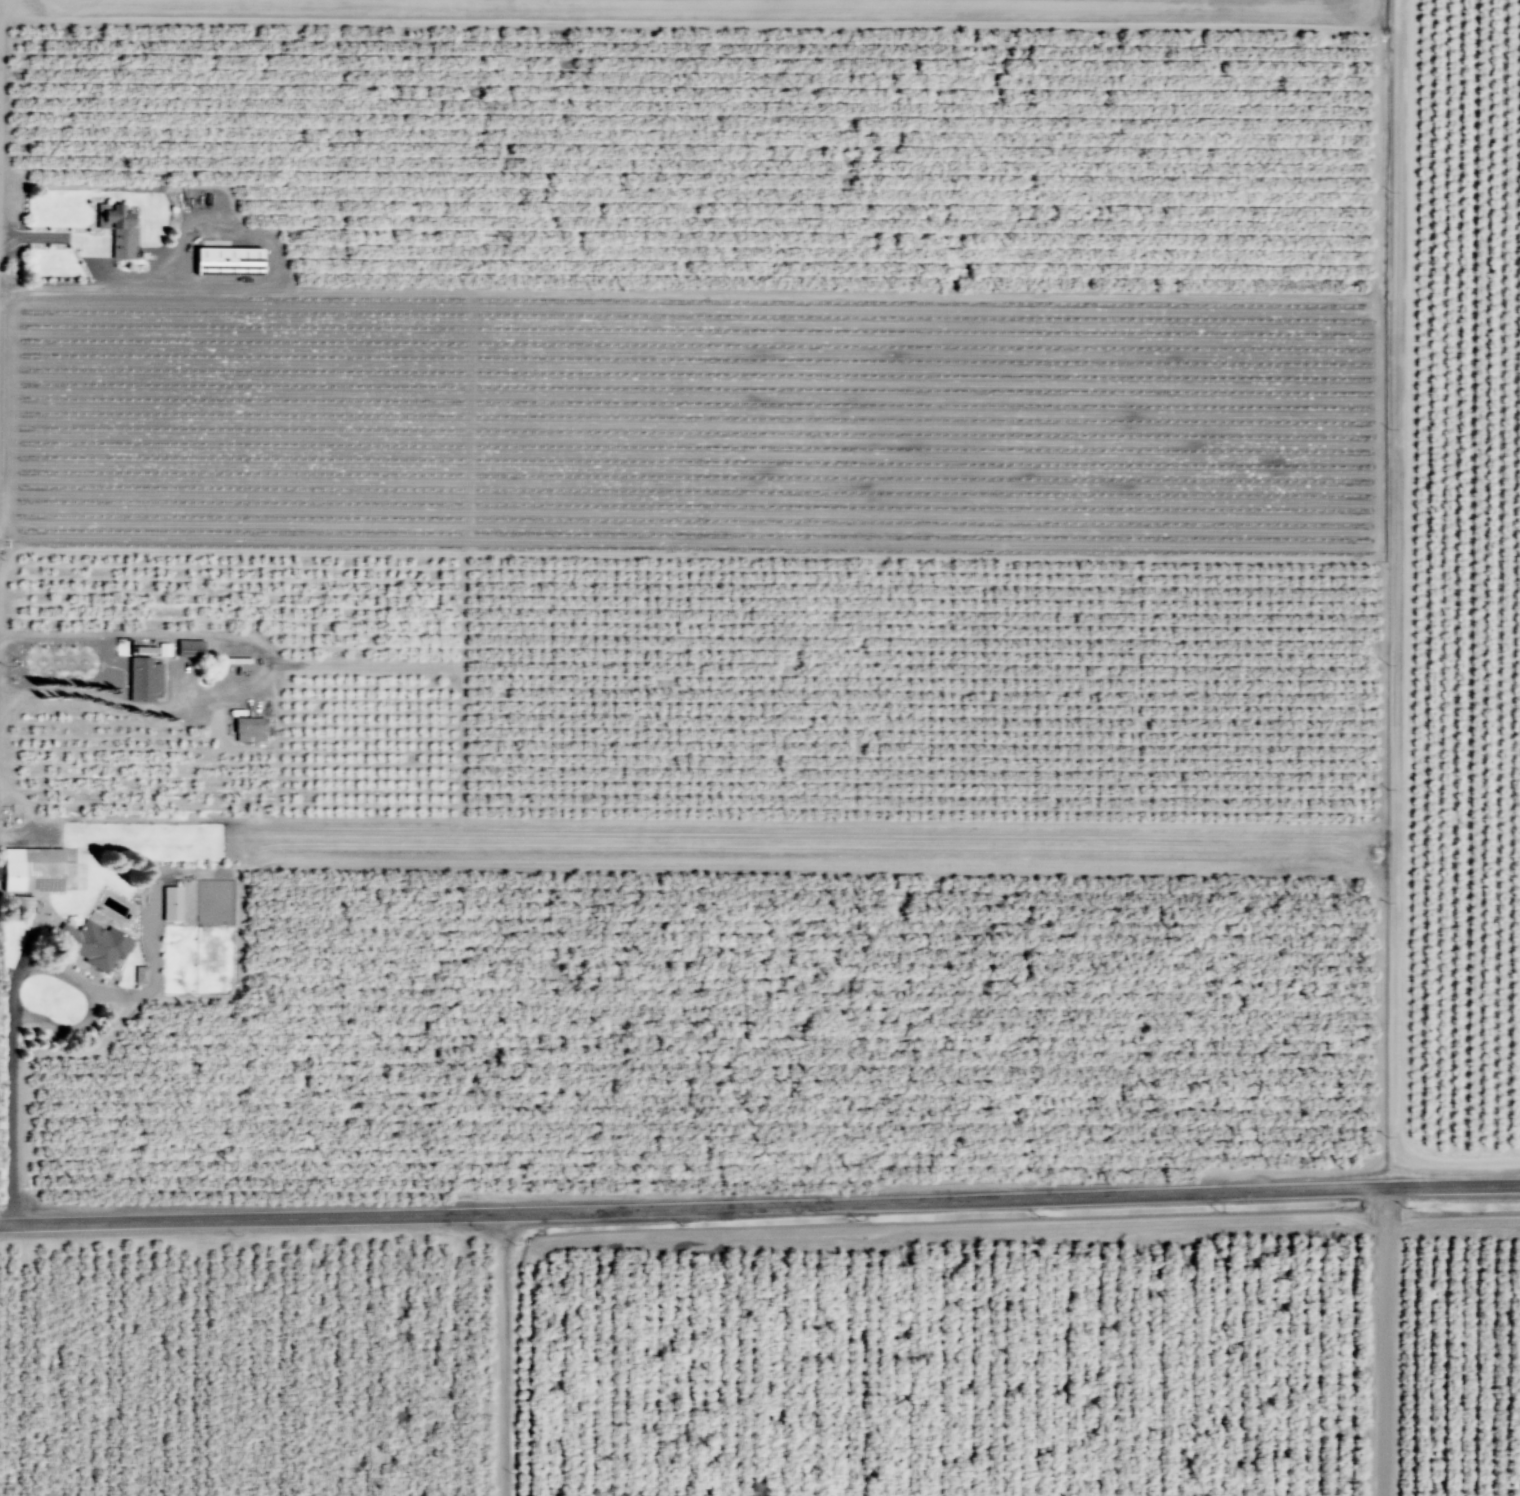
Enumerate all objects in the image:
road: (691, 22)
building: (116, 227)
road: (82, 237)
road: (270, 249)
building: (228, 260)
road: (825, 293)
road: (1385, 428)
road: (9, 541)
road: (221, 551)
road: (923, 556)
road: (1396, 576)
road: (363, 665)
road: (264, 668)
building: (144, 679)
building: (248, 729)
road: (657, 821)
road: (535, 857)
building: (31, 868)
building: (171, 902)
building: (94, 941)
building: (140, 973)
road: (1378, 1085)
road: (8, 1097)
road: (1458, 1162)
road: (760, 1206)
road: (1452, 1221)
road: (830, 1229)
road: (1384, 1341)
road: (500, 1355)
road: (530, 1361)

